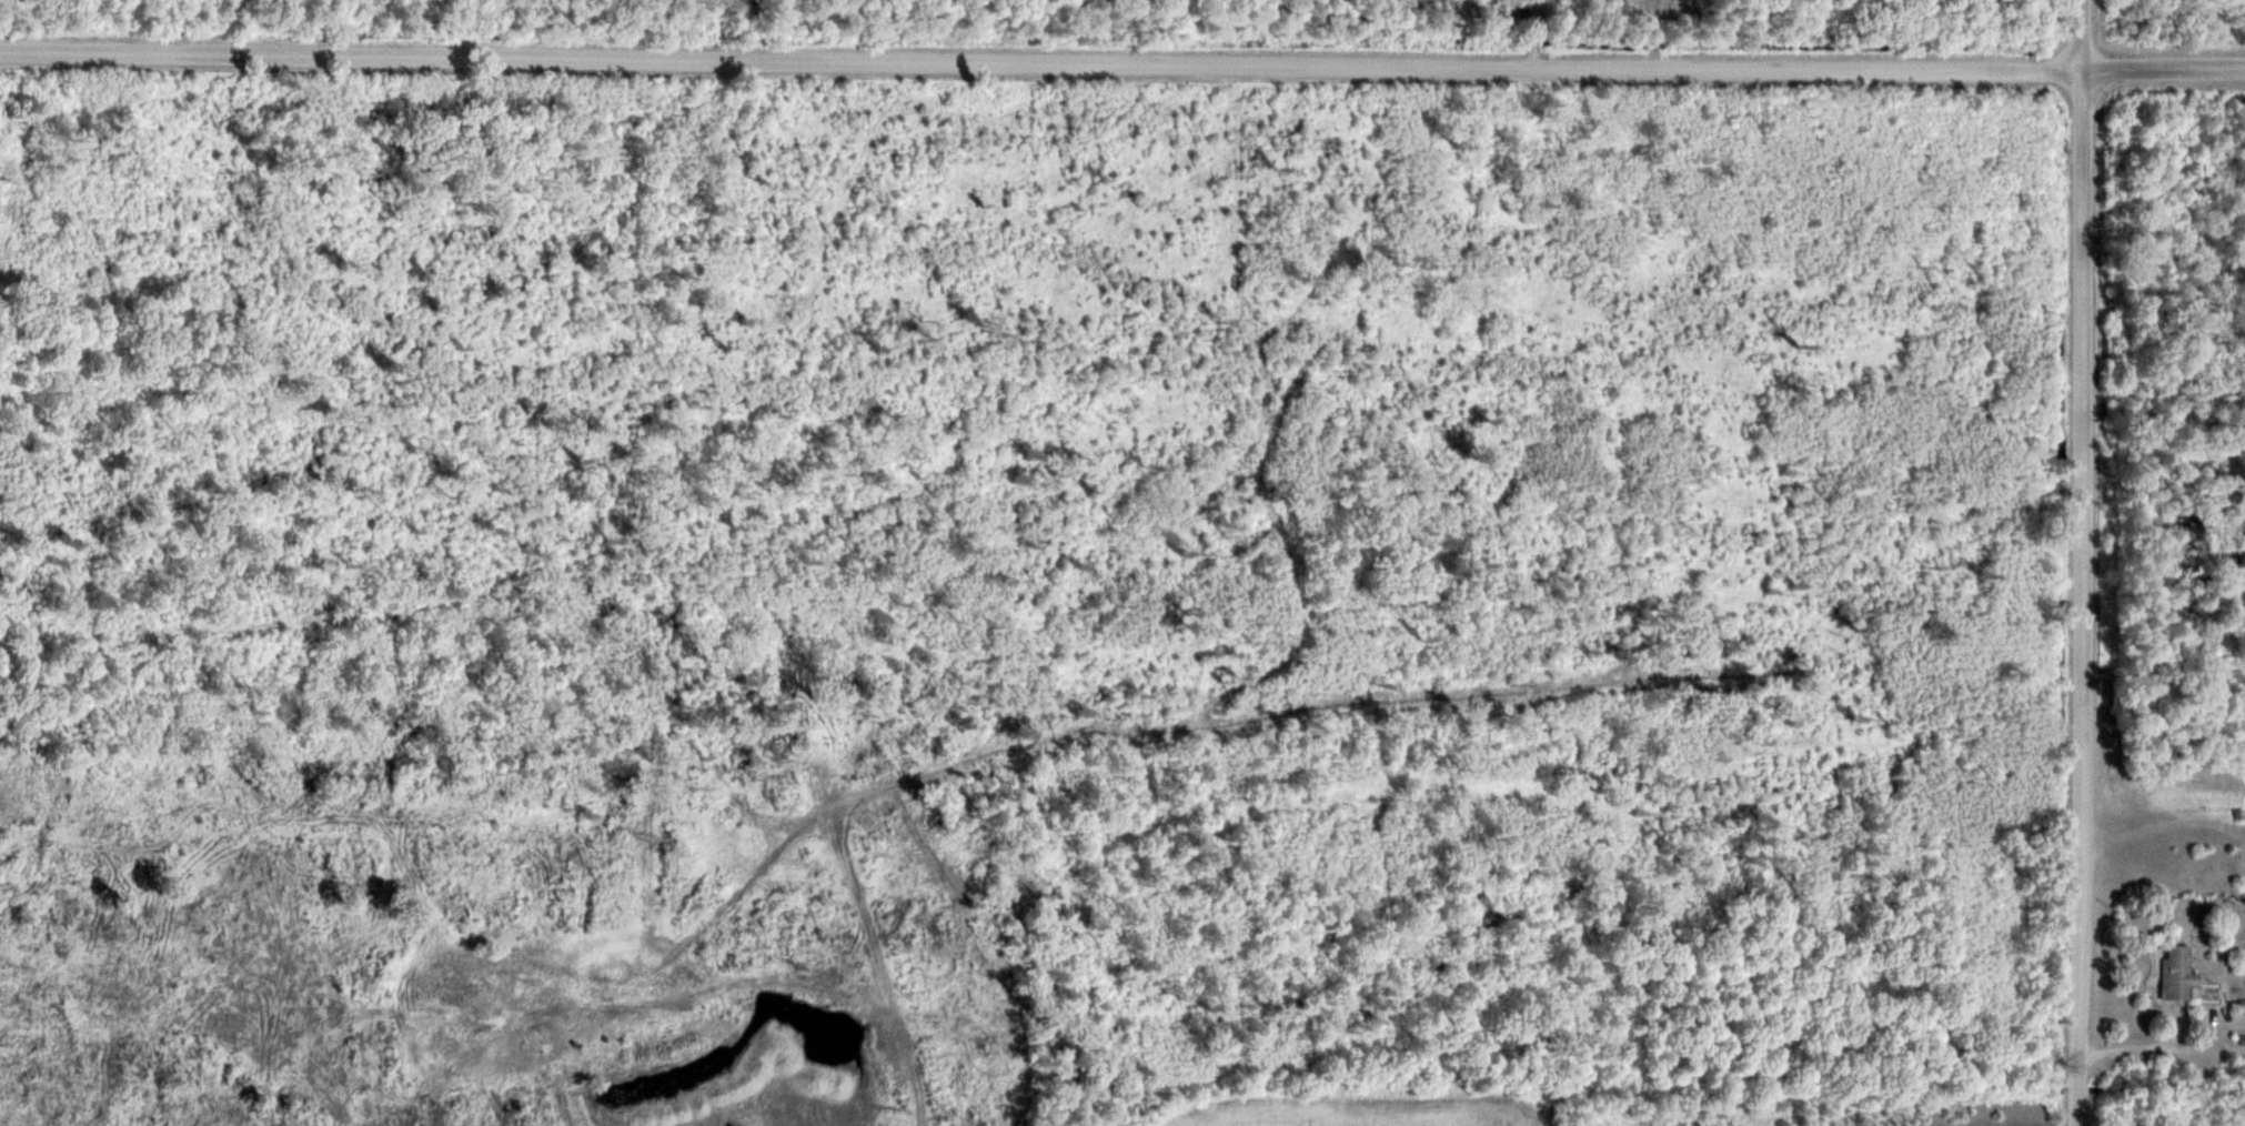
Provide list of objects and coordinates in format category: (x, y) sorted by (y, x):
road: (1122, 56)
road: (2082, 562)
building: (2177, 974)

